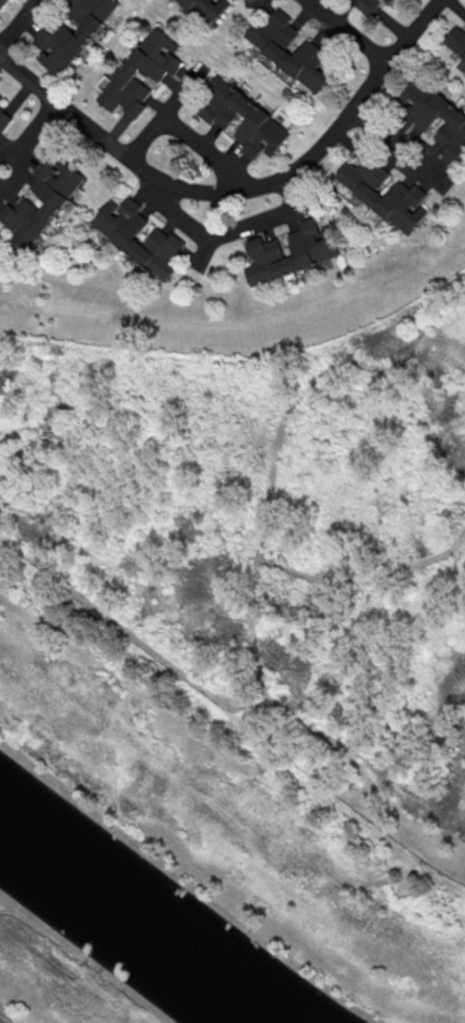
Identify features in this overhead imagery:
building: (389, 0)
building: (4, 4)
building: (367, 5)
building: (208, 9)
road: (18, 26)
road: (350, 31)
building: (74, 32)
building: (457, 41)
building: (317, 51)
building: (129, 72)
building: (1, 96)
road: (165, 115)
building: (435, 116)
building: (6, 118)
building: (219, 118)
road: (37, 131)
road: (401, 145)
road: (209, 152)
road: (6, 157)
road: (20, 180)
road: (238, 191)
building: (408, 192)
building: (56, 206)
road: (229, 234)
building: (168, 240)
building: (317, 249)
river: (132, 923)
park: (54, 981)
parking lot: (3, 1020)

